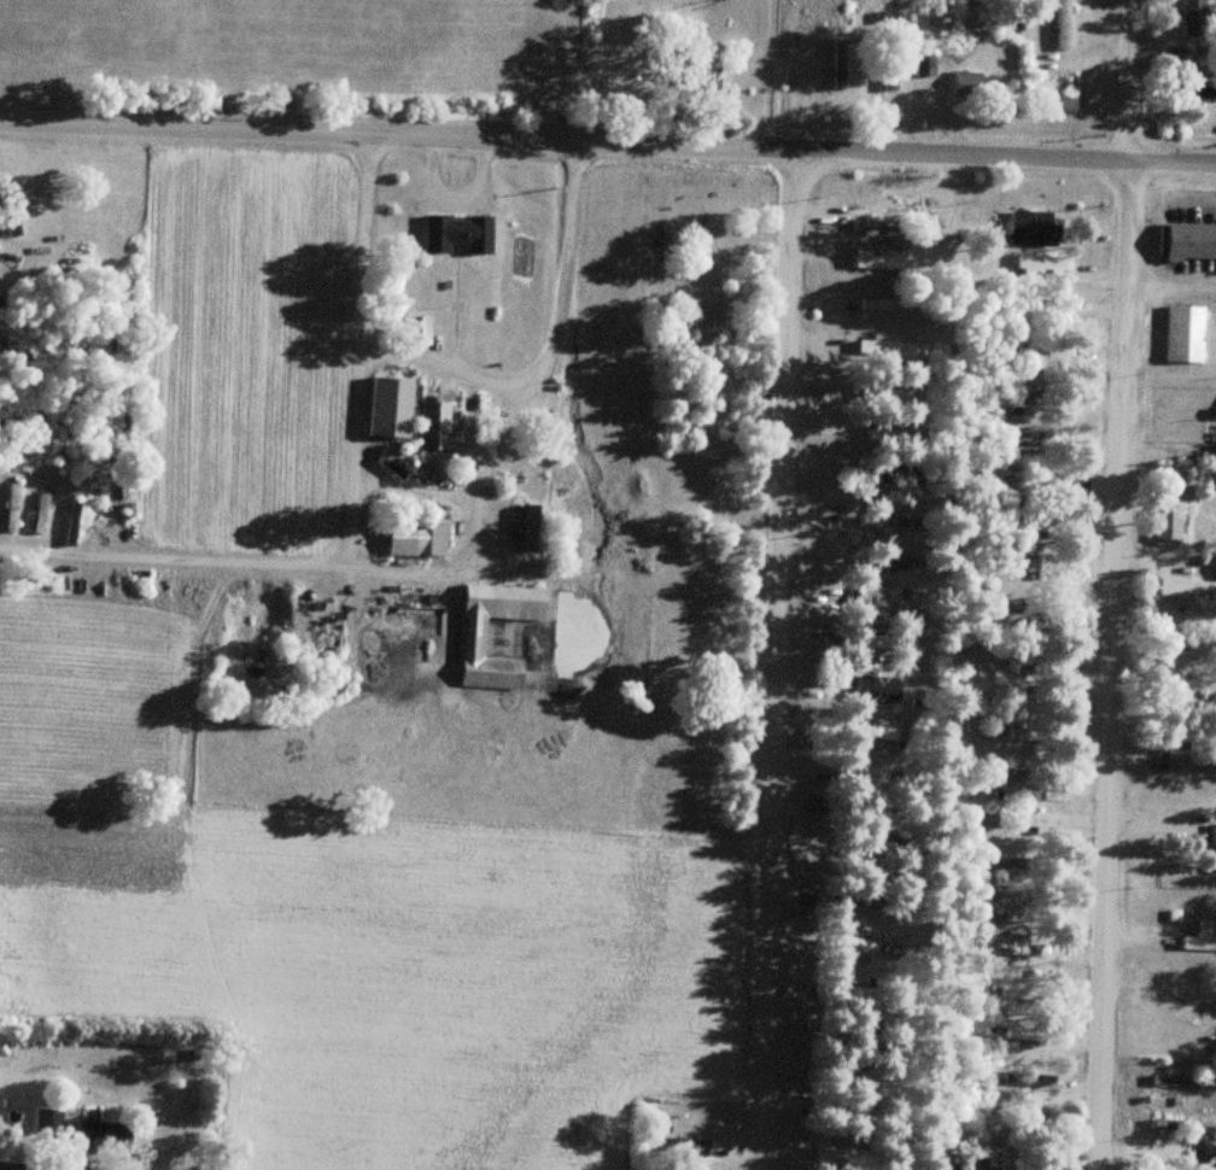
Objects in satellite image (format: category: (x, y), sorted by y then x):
building: (1193, 18)
building: (1062, 24)
building: (837, 64)
building: (923, 64)
building: (965, 82)
building: (1202, 89)
road: (607, 145)
building: (875, 224)
building: (1033, 228)
building: (457, 233)
building: (1191, 240)
building: (882, 259)
building: (1033, 265)
road: (1168, 289)
building: (878, 303)
building: (417, 329)
building: (1185, 333)
building: (889, 350)
building: (1046, 355)
road: (439, 374)
building: (390, 406)
building: (433, 426)
building: (878, 434)
building: (11, 507)
building: (39, 514)
building: (115, 514)
building: (71, 521)
building: (895, 522)
building: (1030, 523)
building: (1167, 523)
building: (533, 526)
building: (427, 537)
building: (450, 540)
road: (419, 562)
building: (1033, 566)
building: (177, 577)
road: (1109, 584)
building: (1175, 586)
building: (174, 596)
building: (879, 598)
building: (472, 638)
building: (876, 642)
road: (777, 661)
building: (877, 689)
building: (876, 732)
building: (1018, 782)
building: (1035, 820)
building: (1212, 835)
building: (1010, 866)
building: (1012, 909)
building: (1199, 938)
building: (858, 943)
building: (1025, 1032)
building: (92, 1135)
building: (688, 1147)
building: (843, 1158)
building: (1005, 1163)
building: (967, 1169)

